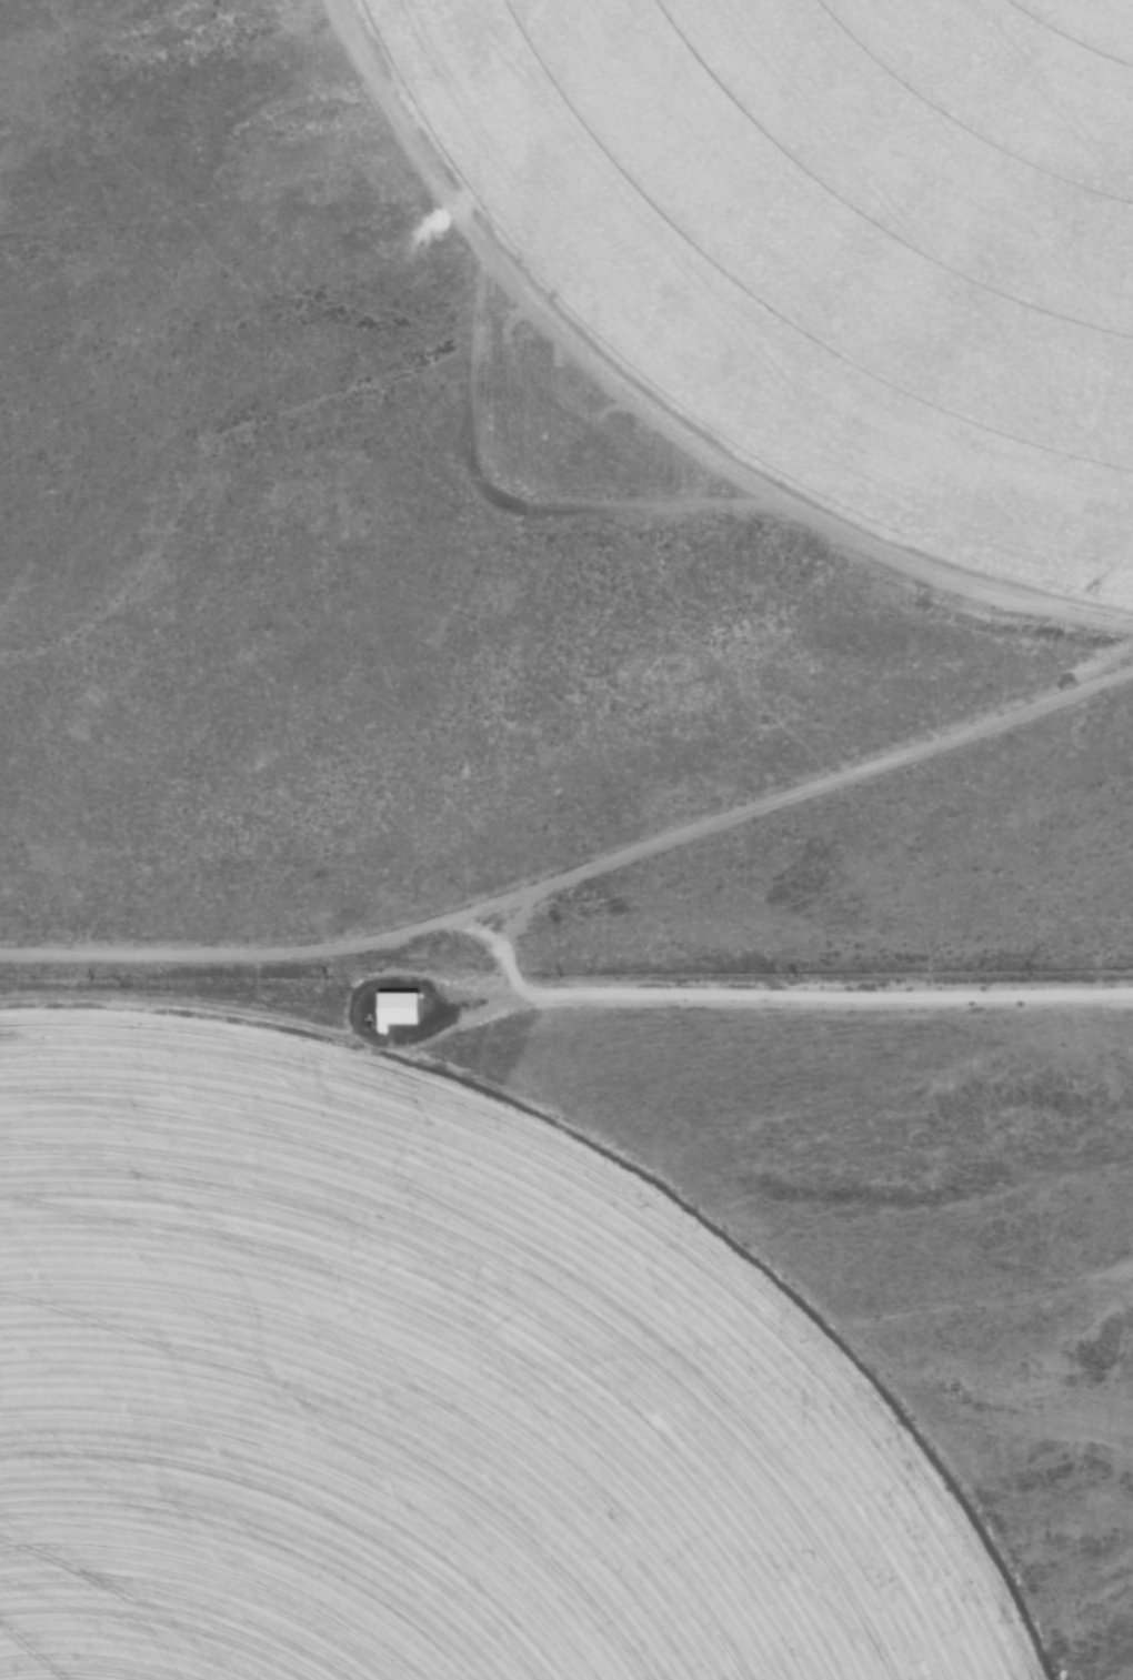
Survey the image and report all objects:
crop: (844, 229)
crop: (402, 1414)

